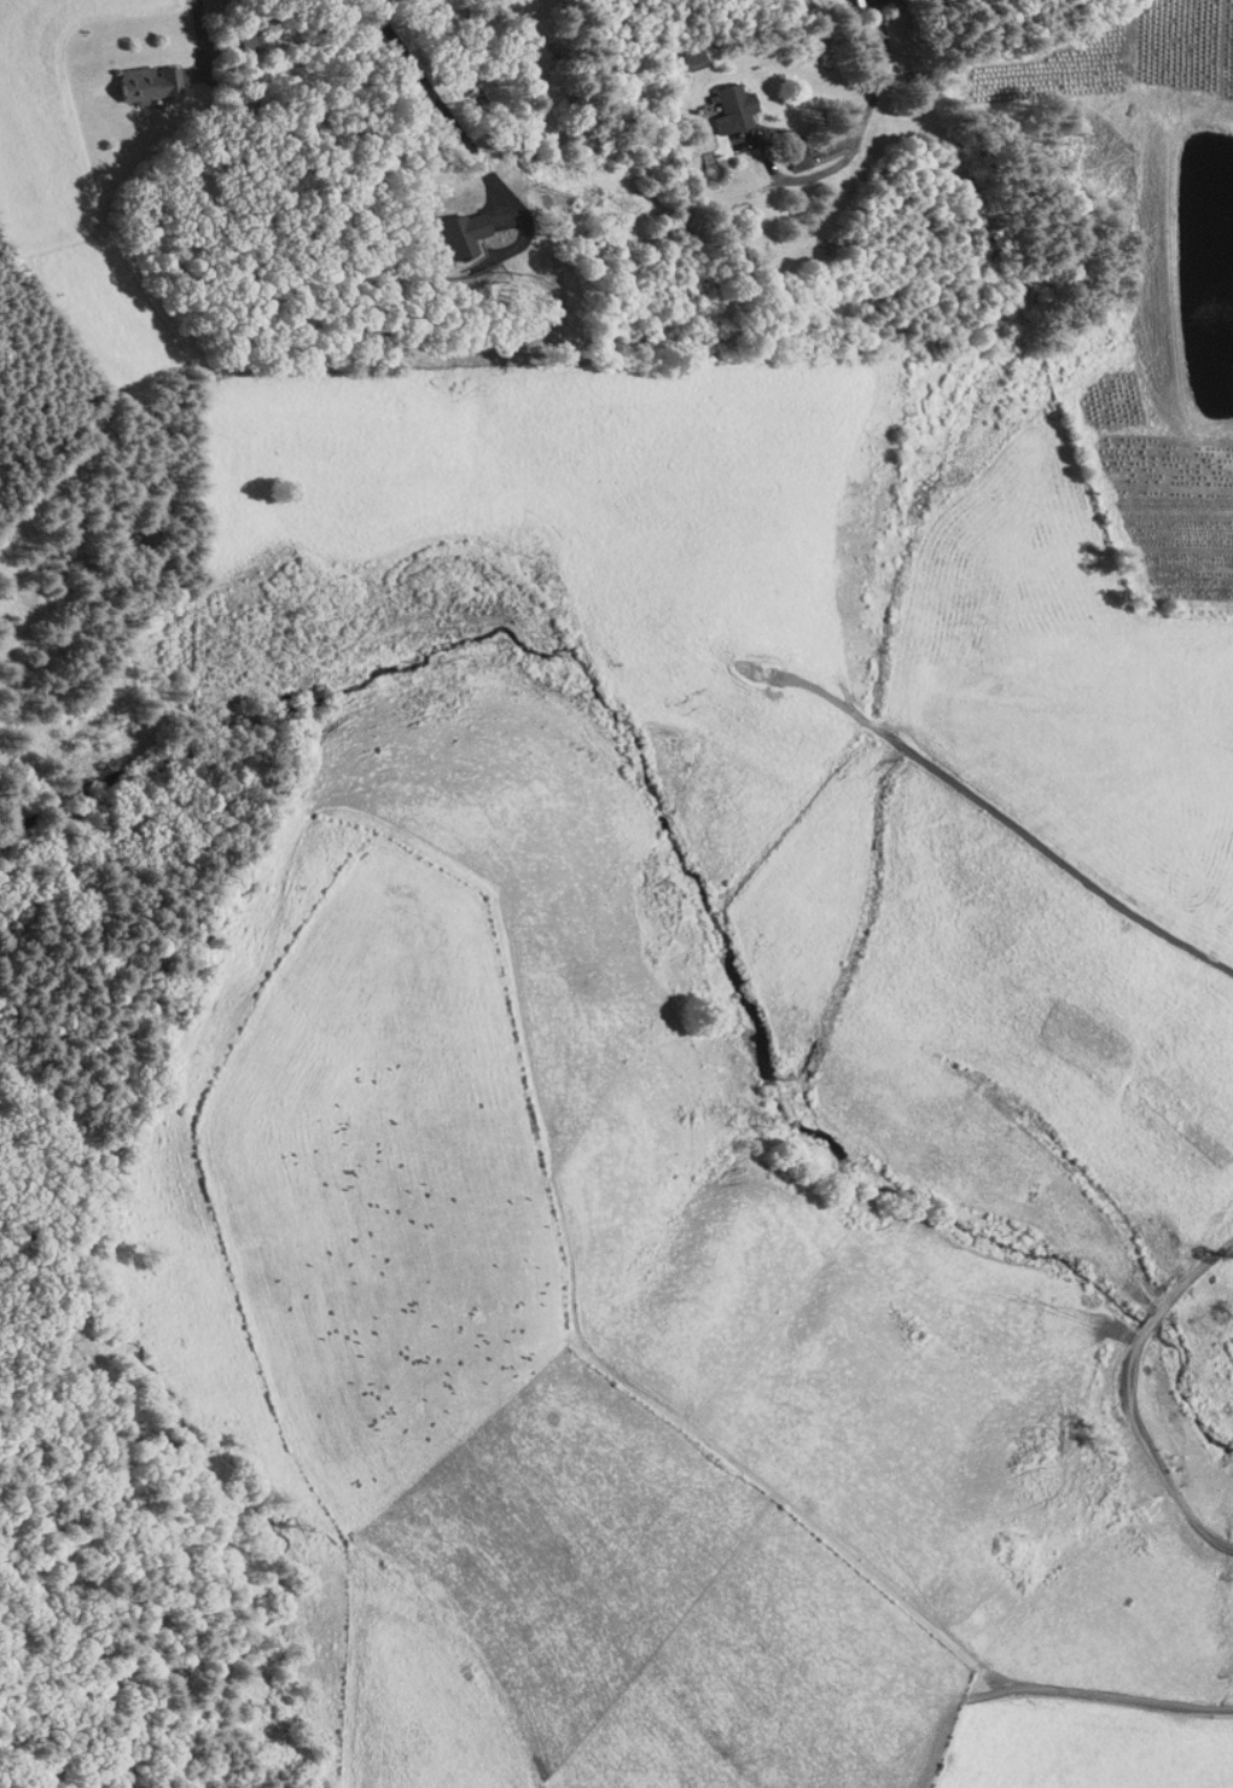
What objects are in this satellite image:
road: (199, 33)
road: (71, 71)
road: (877, 92)

